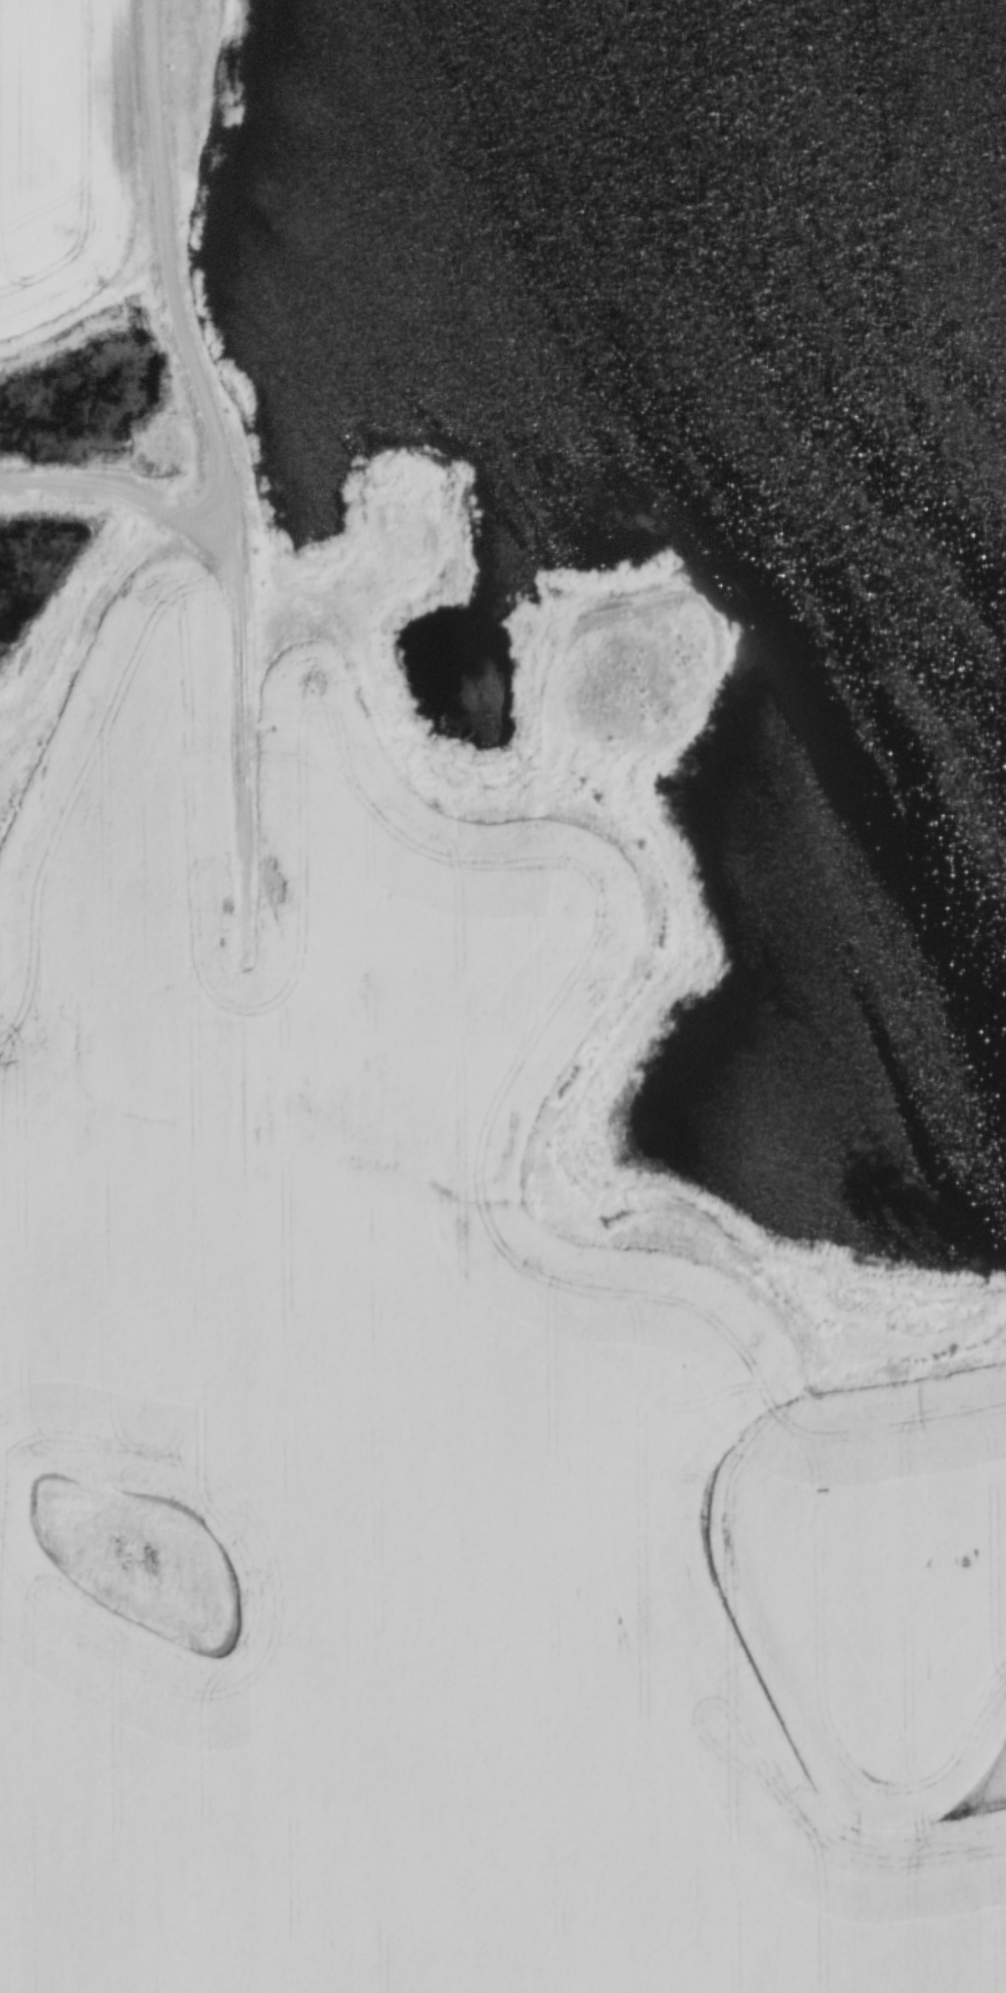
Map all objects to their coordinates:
road: (160, 252)
road: (116, 490)
road: (310, 1192)

